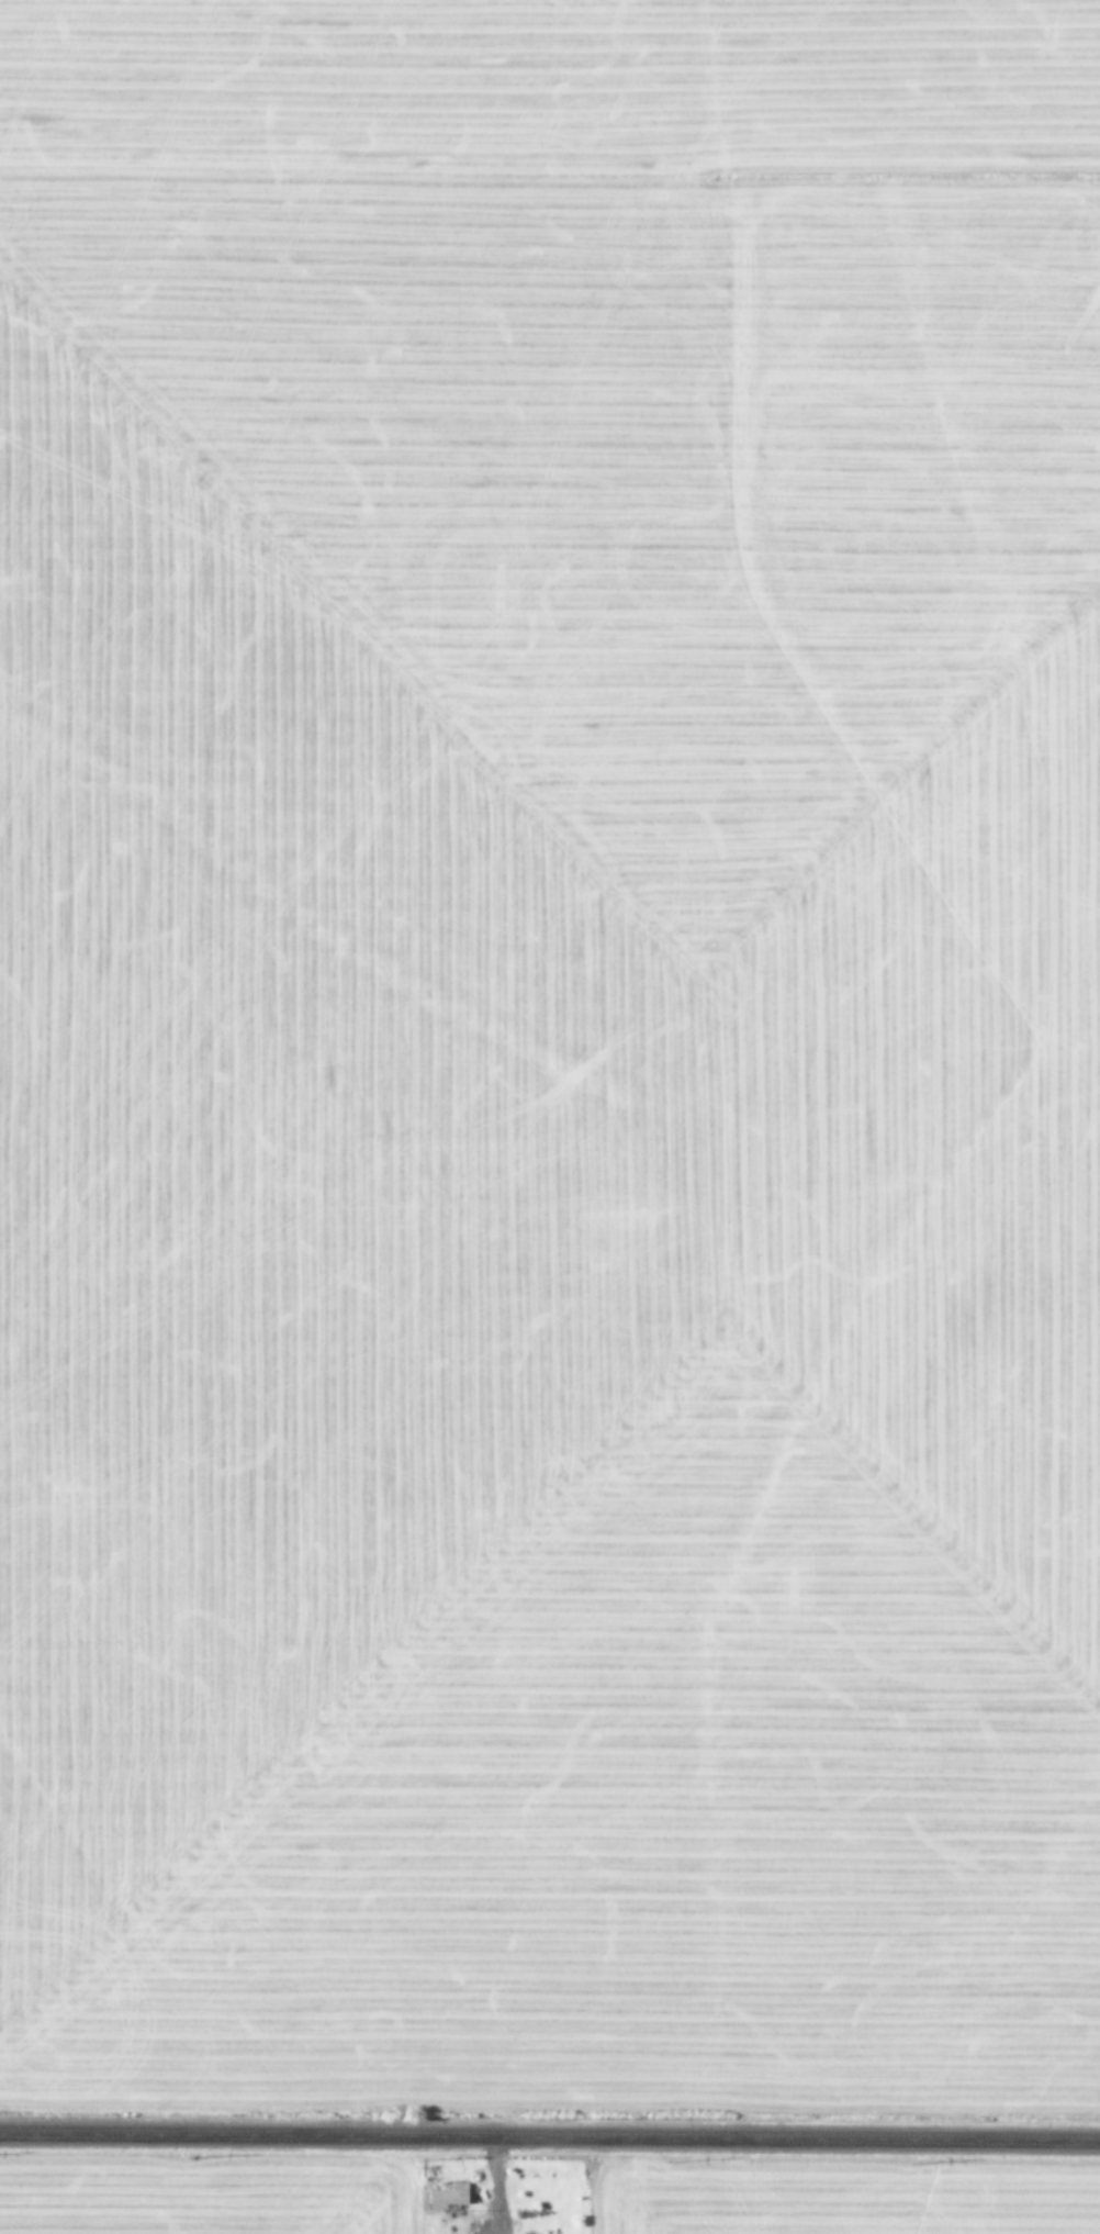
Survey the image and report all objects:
crop: (550, 1049)
road: (550, 2137)
crop: (540, 2193)

